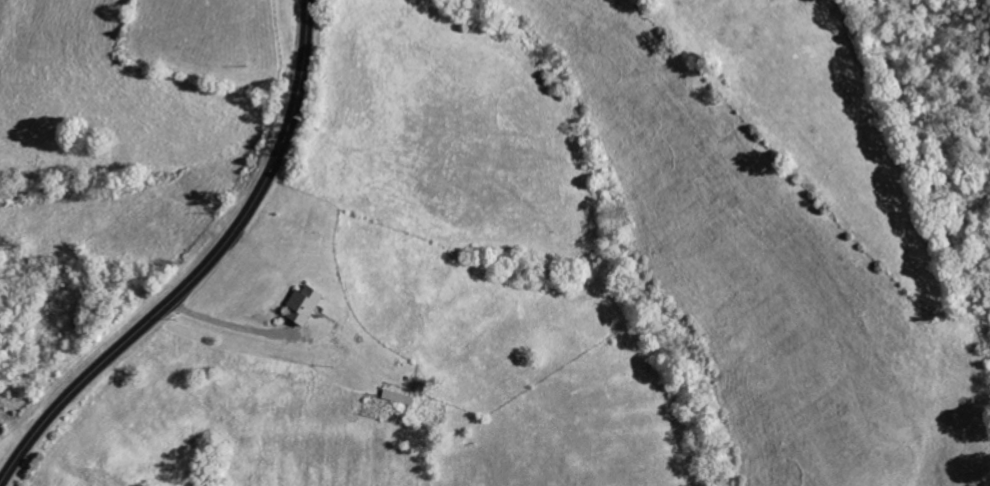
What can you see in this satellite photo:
road: (201, 268)
building: (301, 305)
road: (282, 336)
building: (395, 397)

